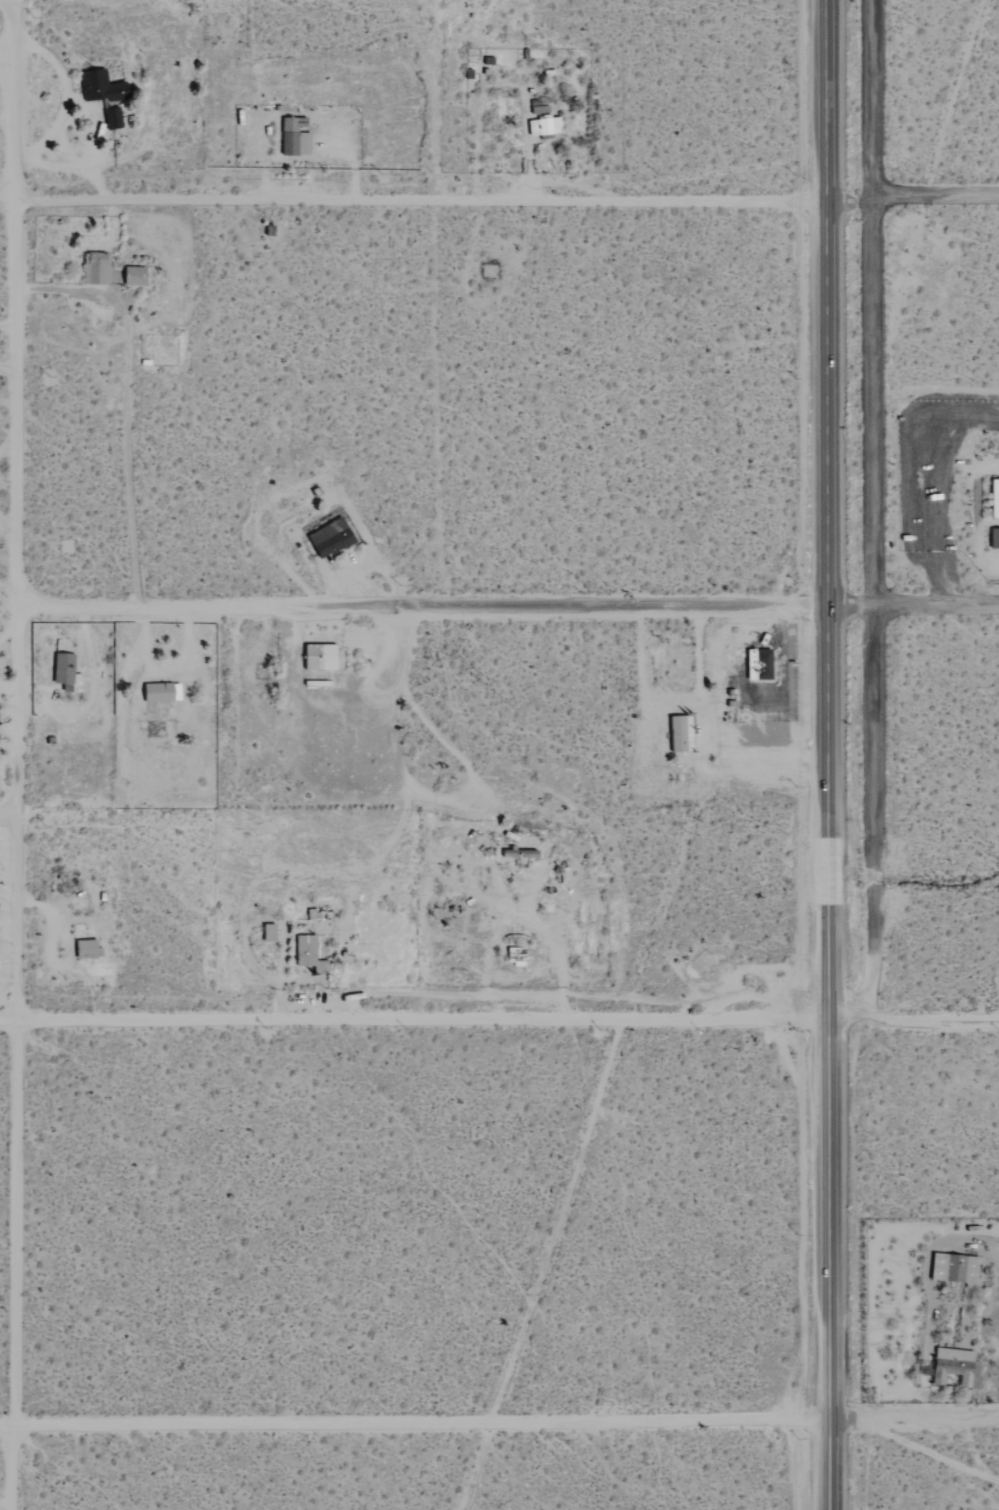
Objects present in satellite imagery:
road: (5, 70)
building: (112, 118)
building: (543, 126)
building: (293, 136)
road: (414, 204)
road: (908, 204)
building: (94, 267)
building: (132, 275)
building: (994, 497)
road: (877, 512)
building: (329, 537)
building: (994, 538)
road: (843, 606)
road: (929, 606)
road: (153, 607)
road: (557, 607)
building: (318, 656)
building: (757, 663)
building: (63, 668)
building: (160, 691)
building: (679, 733)
road: (15, 754)
road: (825, 754)
road: (7, 815)
building: (267, 932)
building: (86, 948)
building: (308, 953)
road: (844, 1023)
road: (412, 1025)
road: (931, 1026)
building: (953, 1268)
building: (954, 1367)
road: (915, 1420)
road: (415, 1422)
road: (5, 1506)

